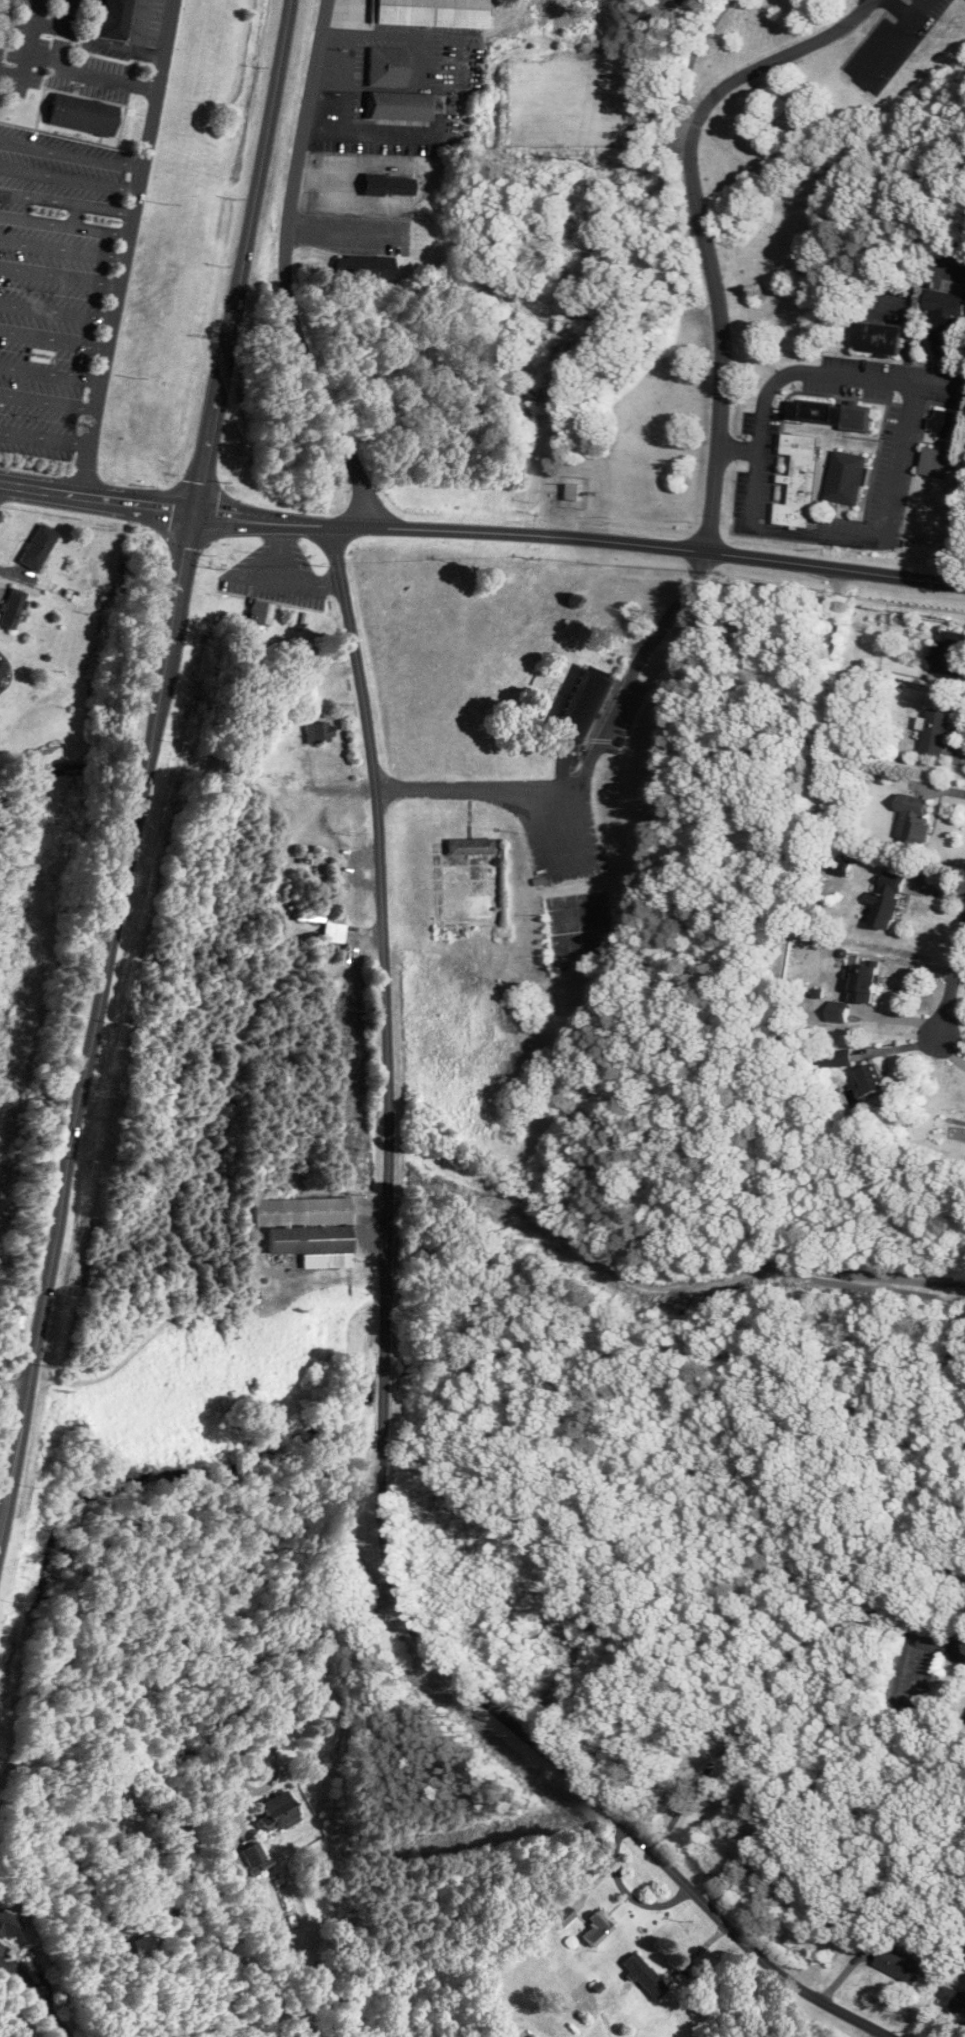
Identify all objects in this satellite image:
road: (907, 11)
building: (431, 13)
road: (88, 19)
building: (115, 19)
road: (4, 23)
road: (140, 25)
road: (34, 27)
road: (126, 47)
road: (74, 67)
building: (388, 67)
building: (400, 106)
building: (84, 114)
road: (371, 130)
road: (71, 154)
road: (69, 177)
building: (390, 185)
road: (67, 202)
road: (65, 225)
road: (702, 227)
road: (127, 247)
road: (63, 249)
building: (365, 266)
road: (291, 267)
road: (60, 277)
road: (57, 310)
building: (946, 324)
building: (882, 339)
road: (54, 340)
road: (51, 373)
road: (49, 401)
building: (832, 415)
building: (948, 423)
road: (897, 437)
road: (46, 439)
building: (939, 463)
building: (850, 478)
building: (802, 481)
building: (577, 492)
road: (97, 496)
traffic signals: (194, 510)
road: (580, 541)
building: (39, 547)
road: (284, 577)
building: (14, 609)
building: (262, 612)
building: (951, 657)
building: (2, 667)
road: (822, 700)
building: (589, 704)
building: (320, 731)
building: (939, 732)
road: (151, 741)
road: (591, 755)
building: (751, 805)
building: (915, 824)
building: (472, 846)
building: (892, 899)
building: (335, 932)
road: (960, 967)
road: (951, 981)
building: (870, 983)
building: (841, 1012)
road: (952, 1051)
building: (839, 1059)
building: (876, 1080)
building: (310, 1230)
road: (14, 1382)
road: (382, 1392)
road: (5, 1507)
road: (310, 1656)
road: (783, 1676)
building: (280, 1812)
building: (255, 1855)
building: (562, 1915)
building: (9, 1924)
building: (599, 1927)
building: (904, 1965)
building: (645, 1976)
road: (36, 1997)
building: (954, 2000)

